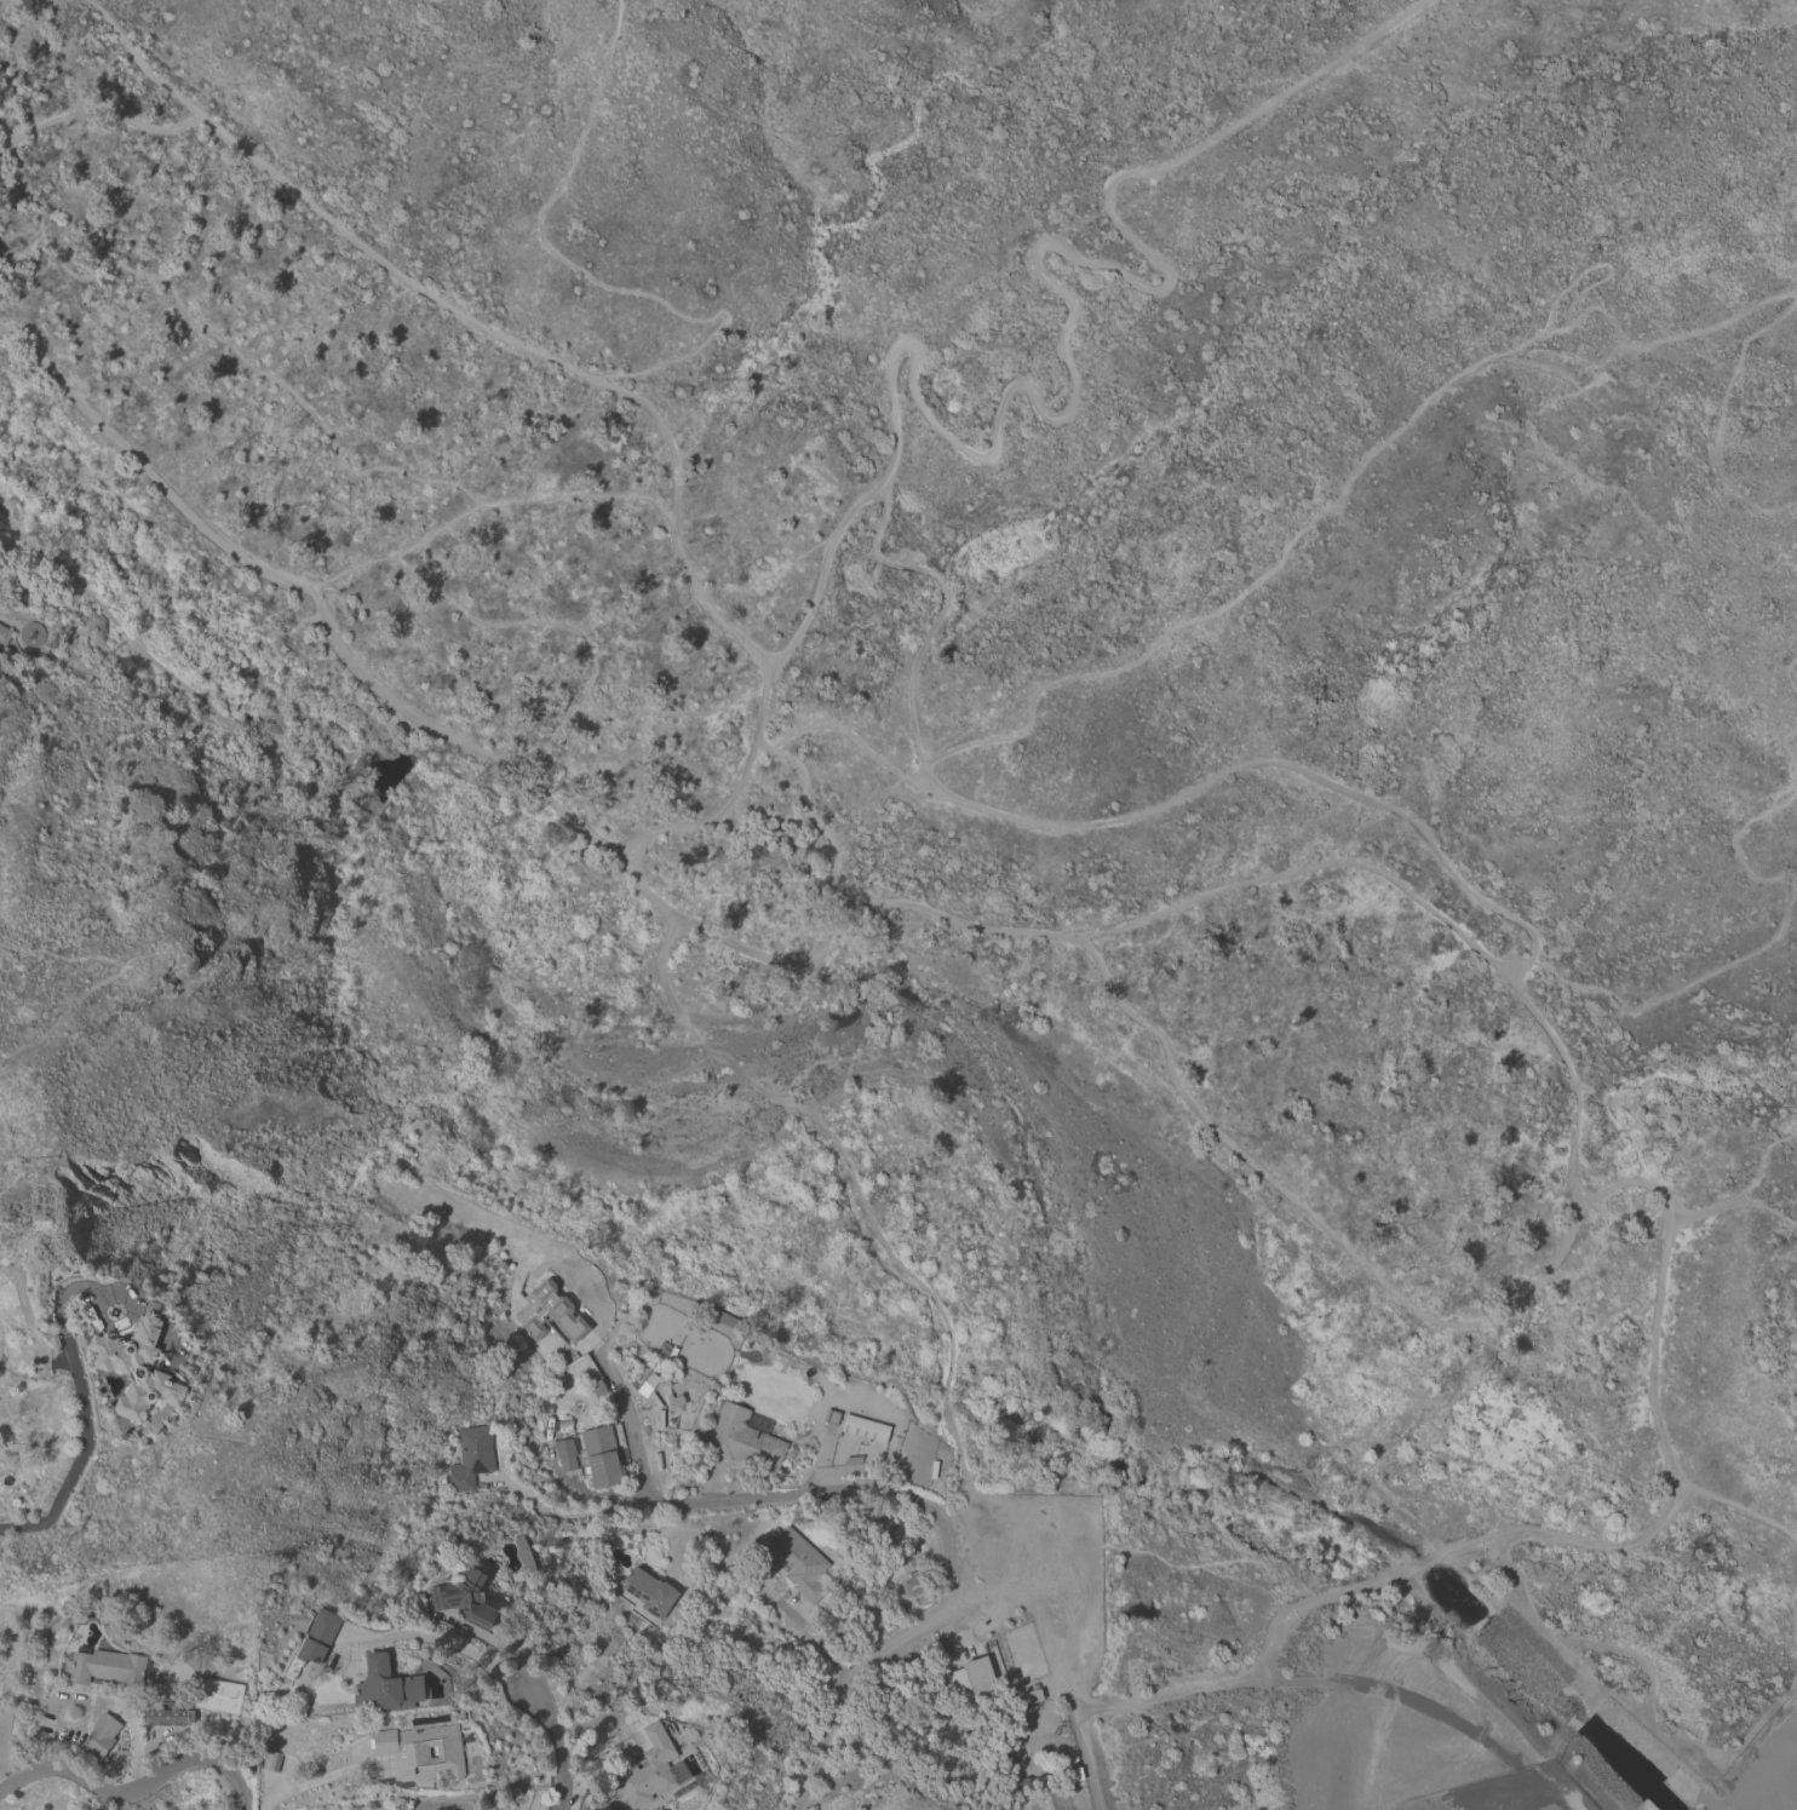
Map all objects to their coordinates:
road: (93, 110)
road: (5, 125)
road: (578, 268)
road: (467, 320)
road: (246, 366)
road: (1034, 401)
road: (1720, 424)
road: (1348, 484)
road: (484, 506)
road: (295, 622)
building: (4, 632)
road: (16, 637)
road: (1796, 639)
road: (589, 645)
road: (1787, 676)
road: (239, 724)
road: (92, 800)
road: (811, 823)
road: (1110, 824)
road: (1423, 904)
road: (1781, 935)
road: (116, 981)
road: (1675, 1088)
road: (1210, 1128)
road: (1763, 1155)
road: (852, 1177)
road: (1741, 1196)
road: (82, 1286)
building: (550, 1314)
building: (139, 1369)
road: (631, 1435)
building: (742, 1440)
road: (82, 1452)
building: (592, 1456)
road: (609, 1495)
road: (1743, 1510)
road: (572, 1515)
road: (947, 1552)
building: (797, 1563)
road: (760, 1590)
building: (648, 1593)
road: (1041, 1598)
building: (457, 1601)
road: (1795, 1624)
road: (436, 1642)
building: (310, 1651)
building: (107, 1666)
building: (974, 1678)
building: (387, 1687)
road: (1644, 1688)
building: (223, 1699)
building: (170, 1716)
building: (102, 1736)
road: (557, 1742)
building: (420, 1752)
road: (1087, 1763)
building: (654, 1771)
dam: (1770, 1776)
road: (303, 1786)
road: (133, 1791)

